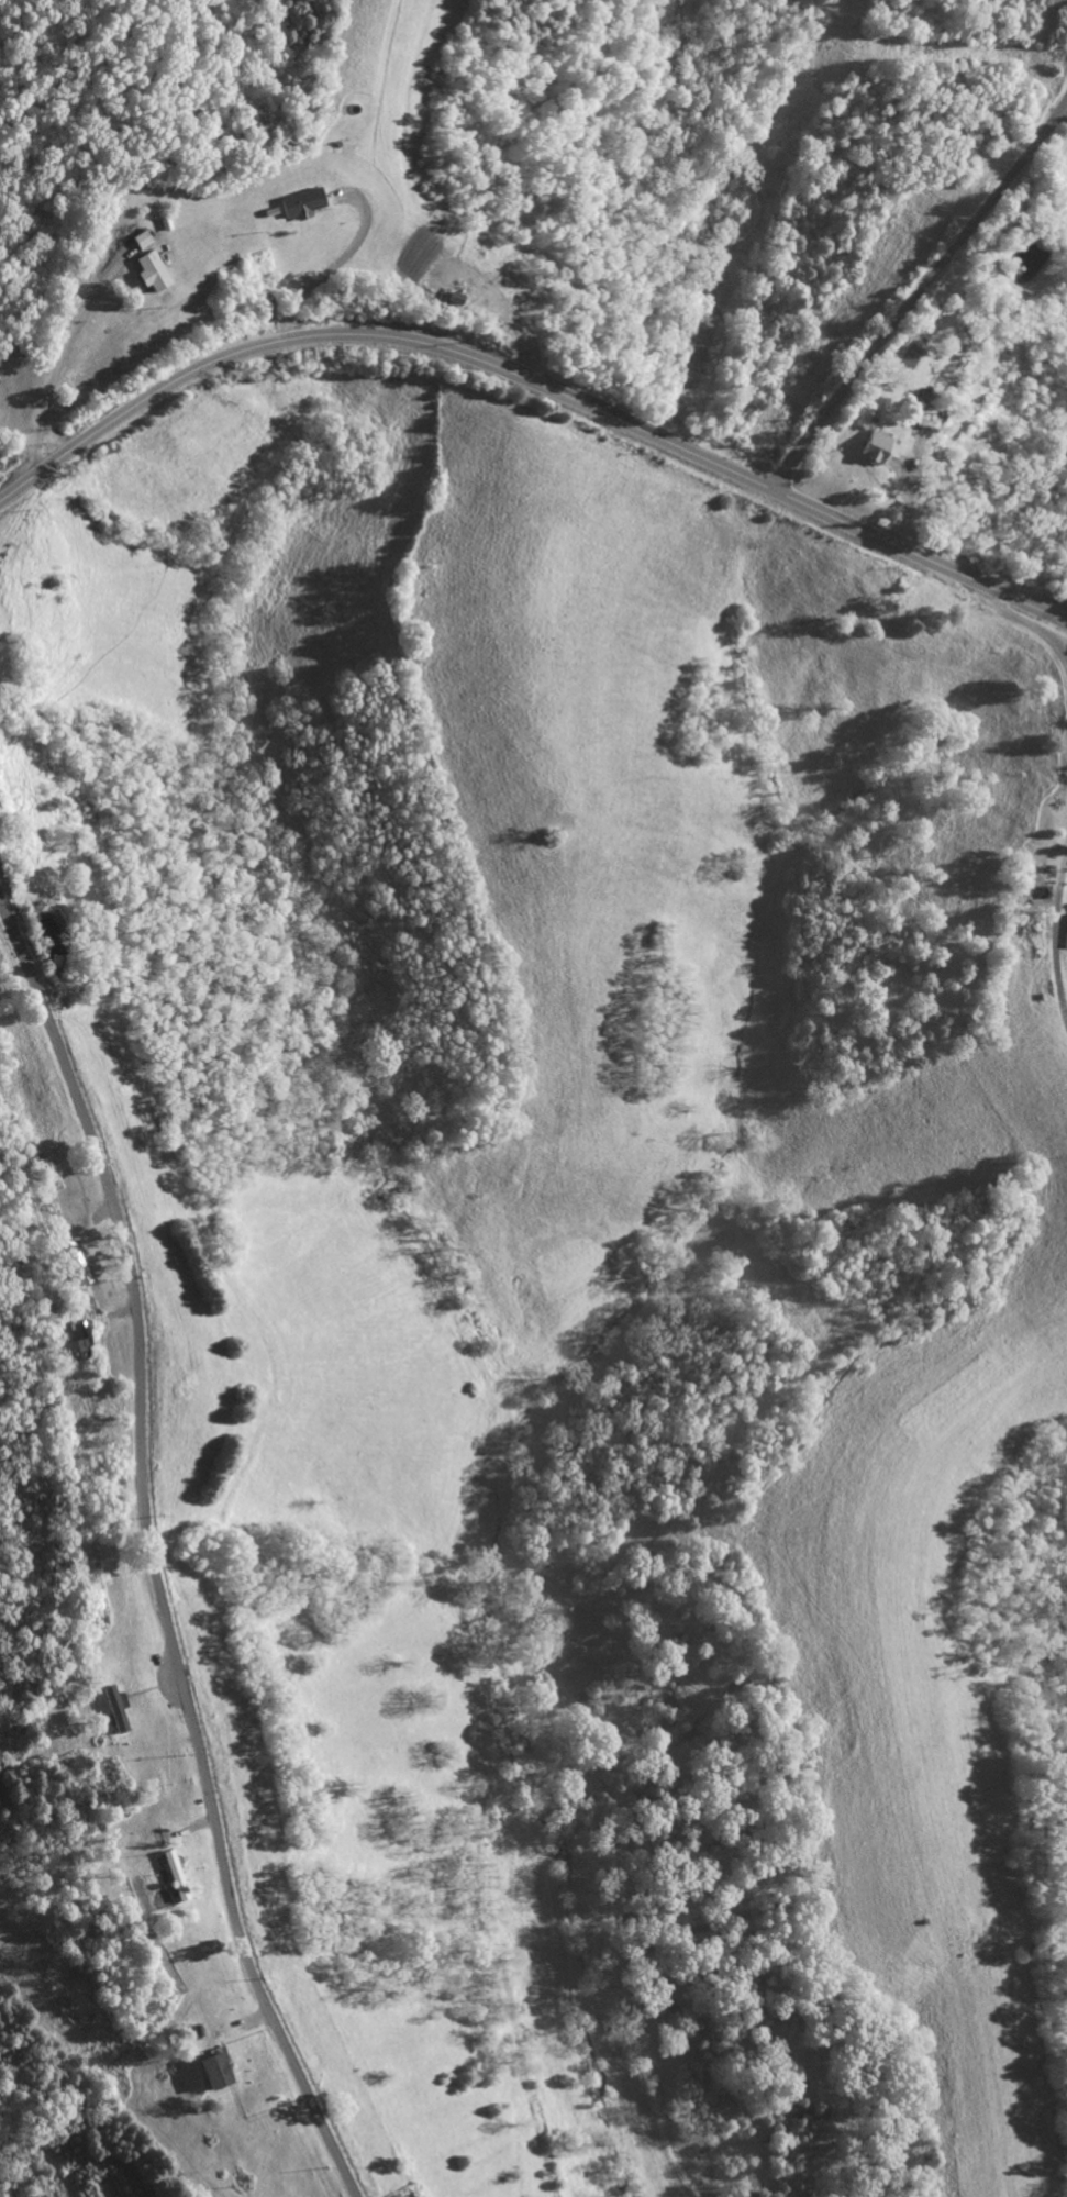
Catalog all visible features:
building: (301, 201)
building: (141, 238)
road: (333, 269)
building: (153, 270)
road: (919, 293)
road: (533, 381)
building: (921, 412)
building: (874, 448)
road: (1024, 625)
road: (1053, 928)
road: (153, 1551)
building: (116, 1707)
building: (175, 1874)
building: (214, 2070)

